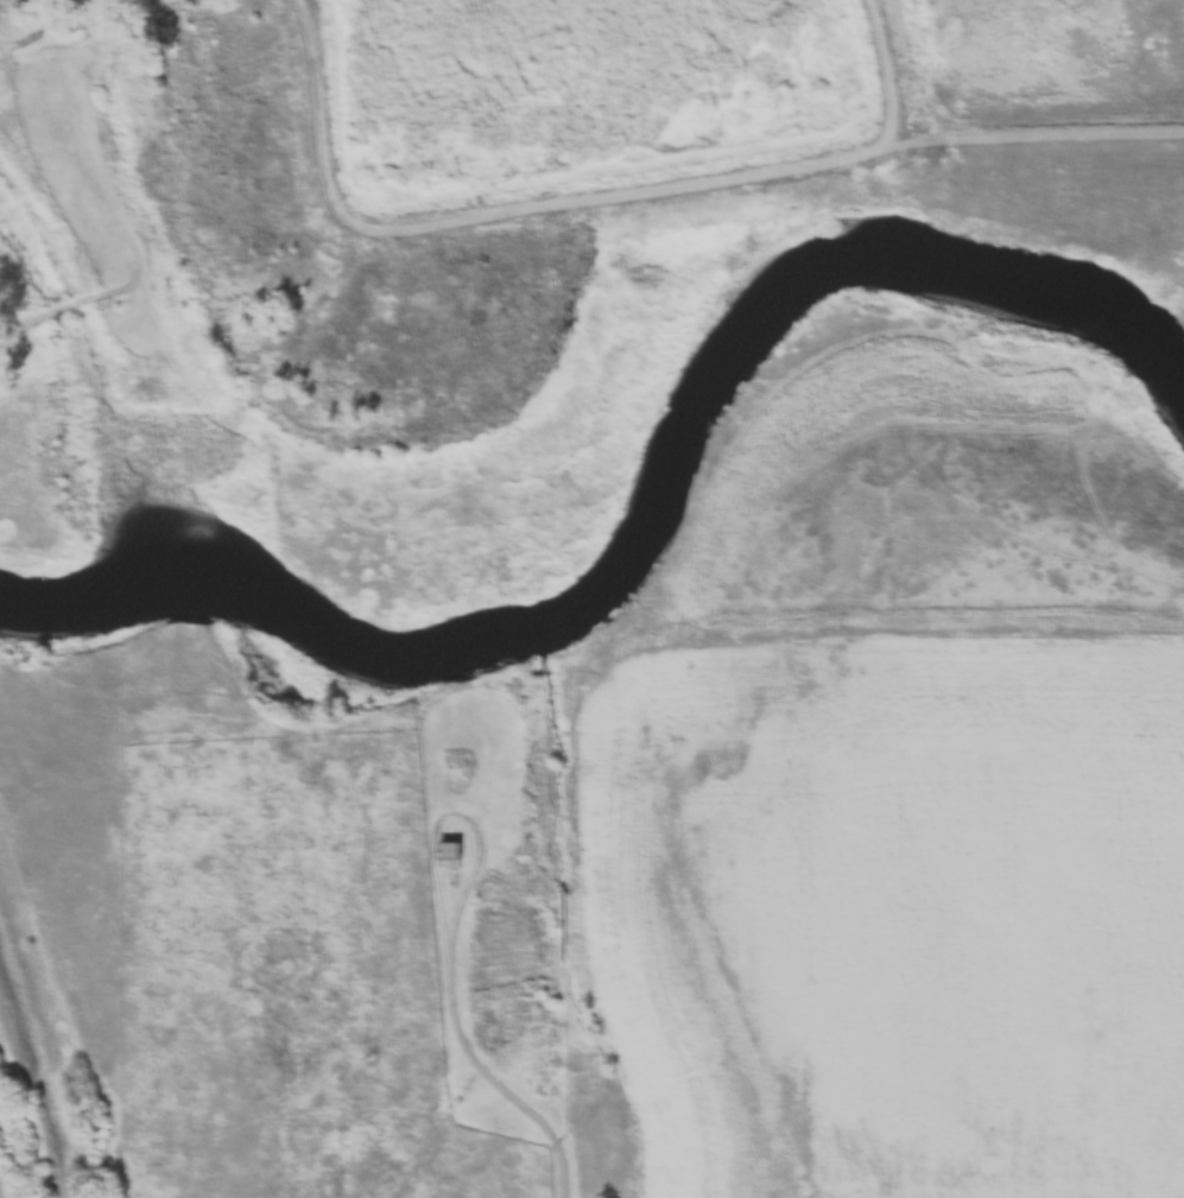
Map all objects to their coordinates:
road: (318, 115)
river: (640, 528)
building: (447, 854)
road: (562, 1115)

